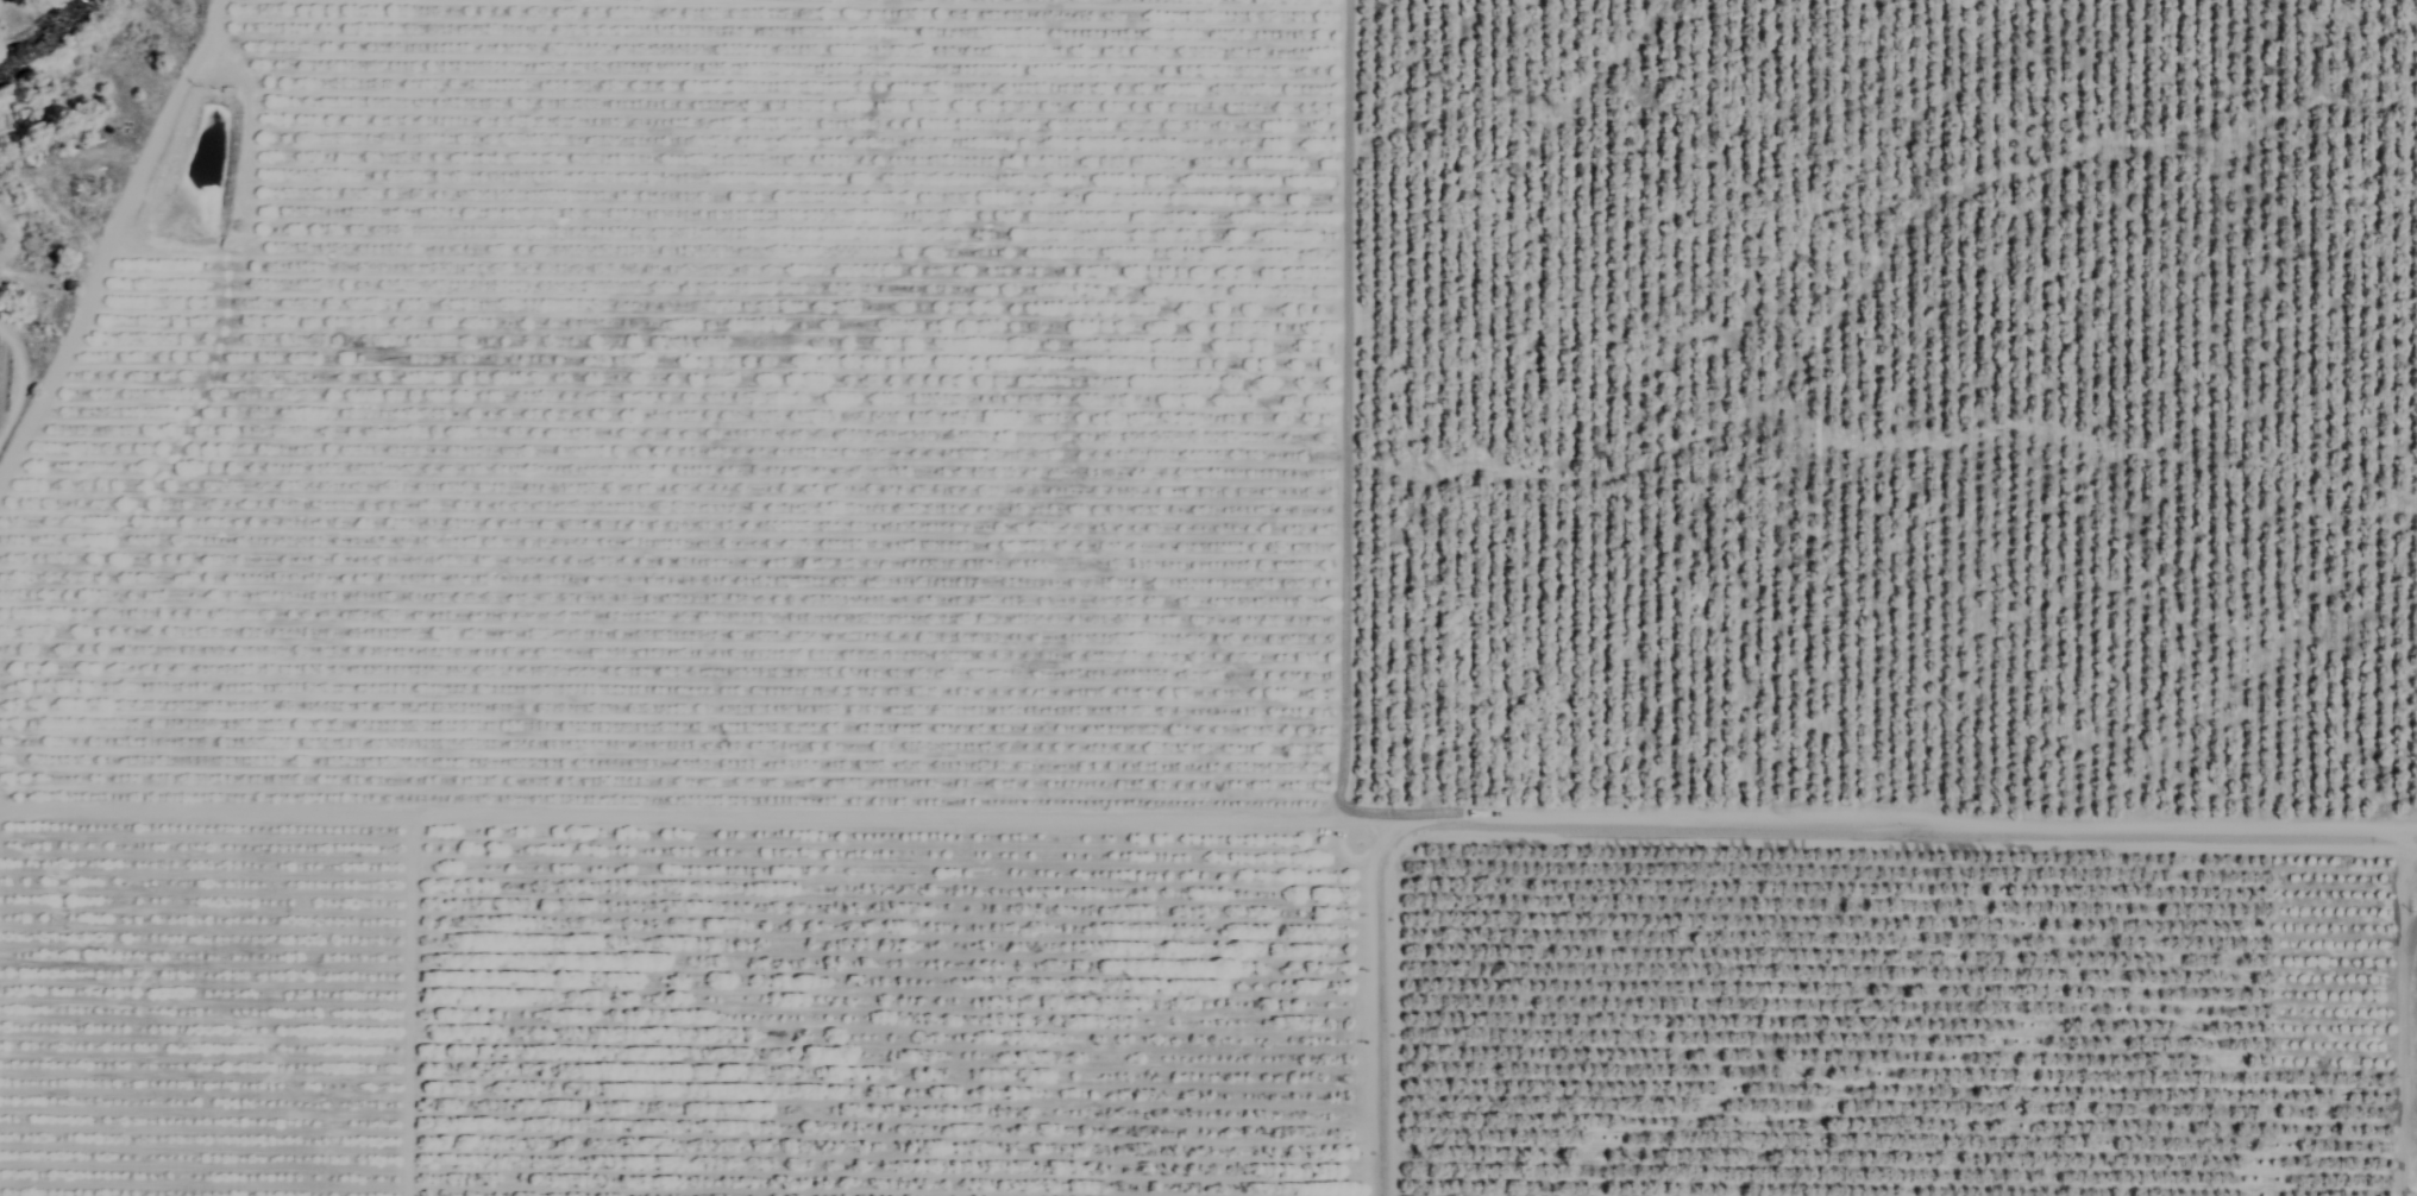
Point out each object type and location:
crop: (1216, 602)
road: (701, 816)
road: (1895, 838)
road: (1382, 1026)

